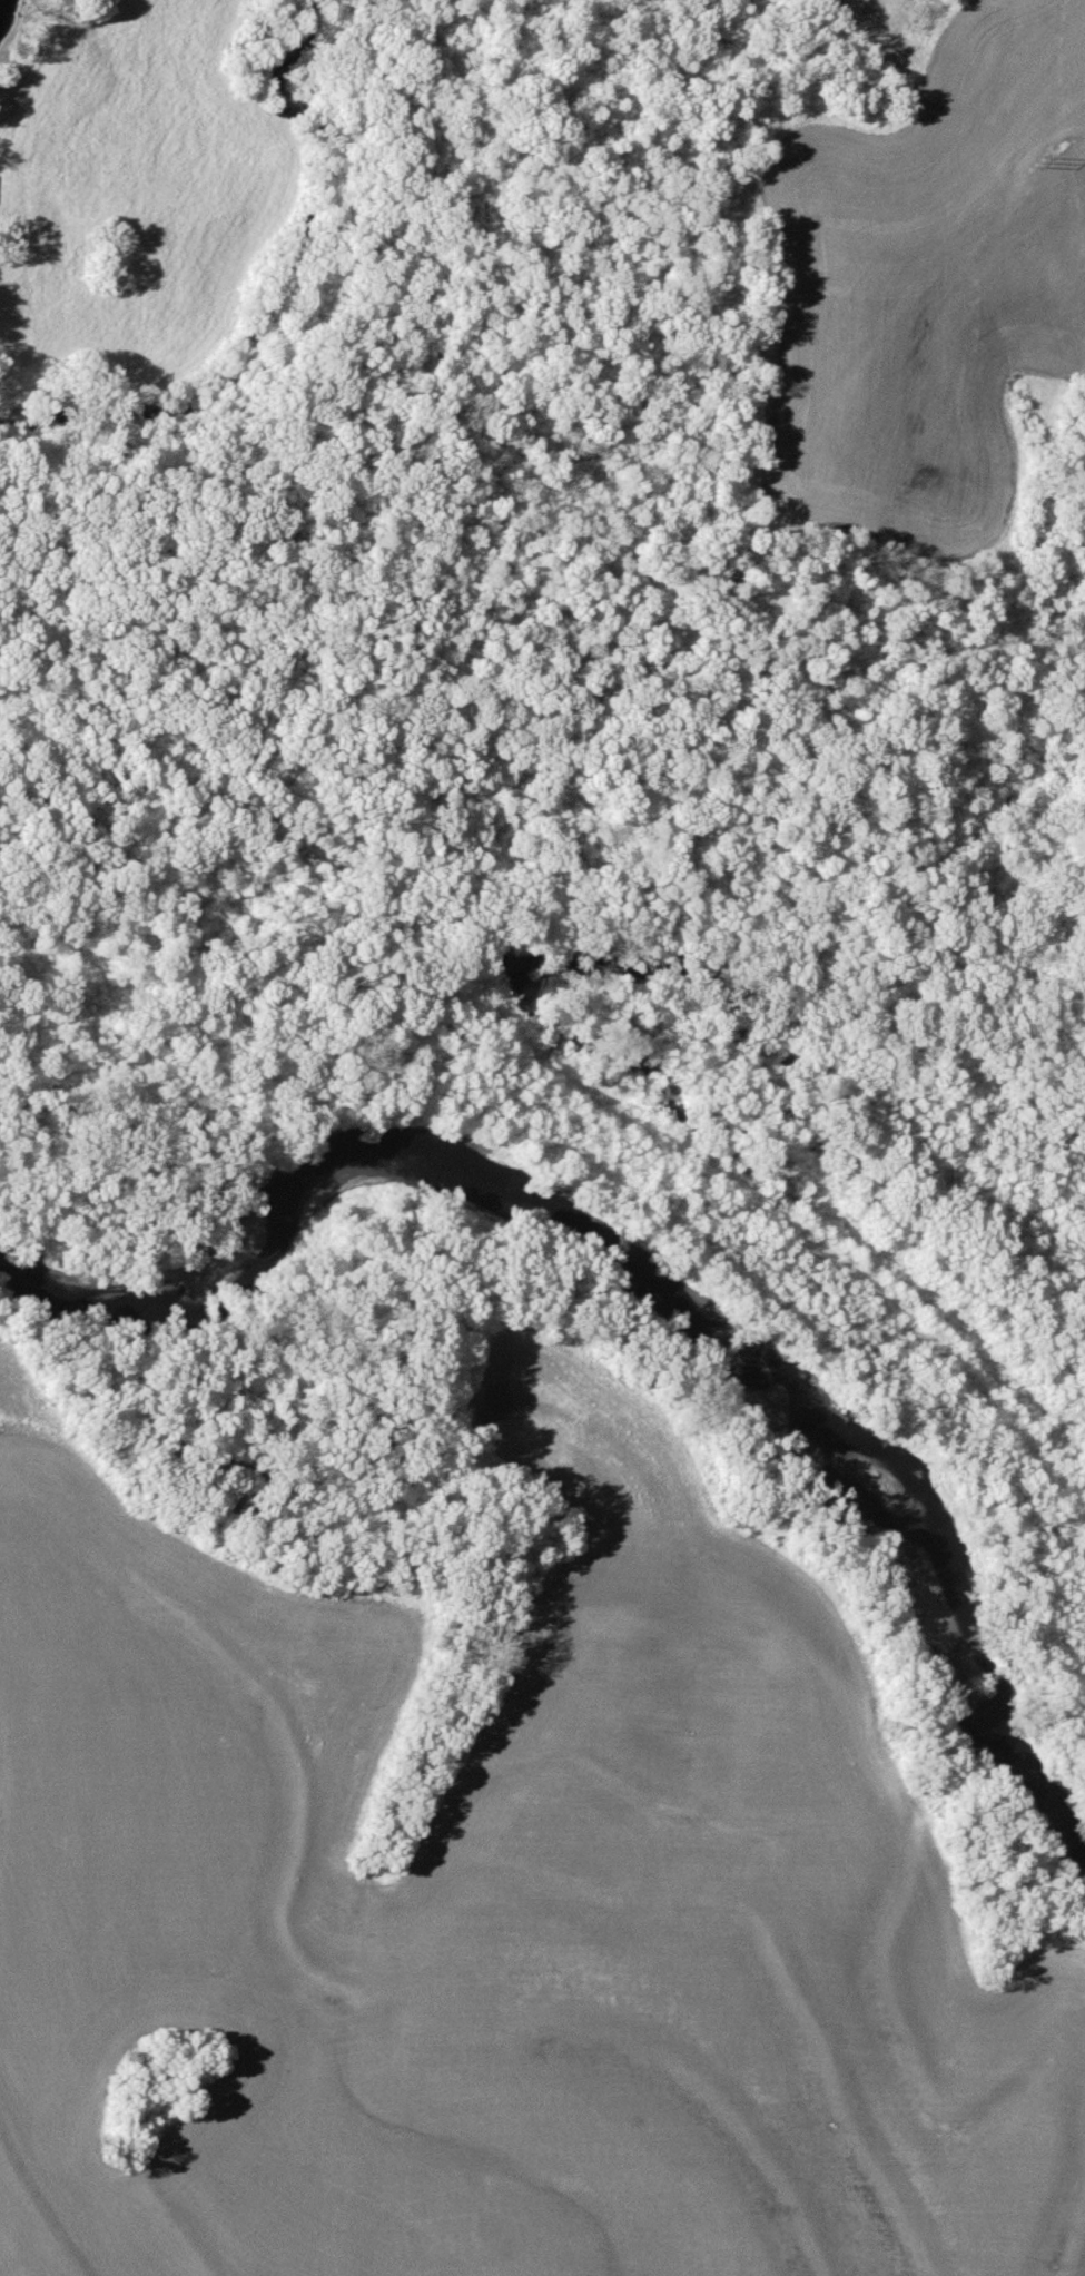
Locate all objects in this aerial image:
river: (651, 1285)

